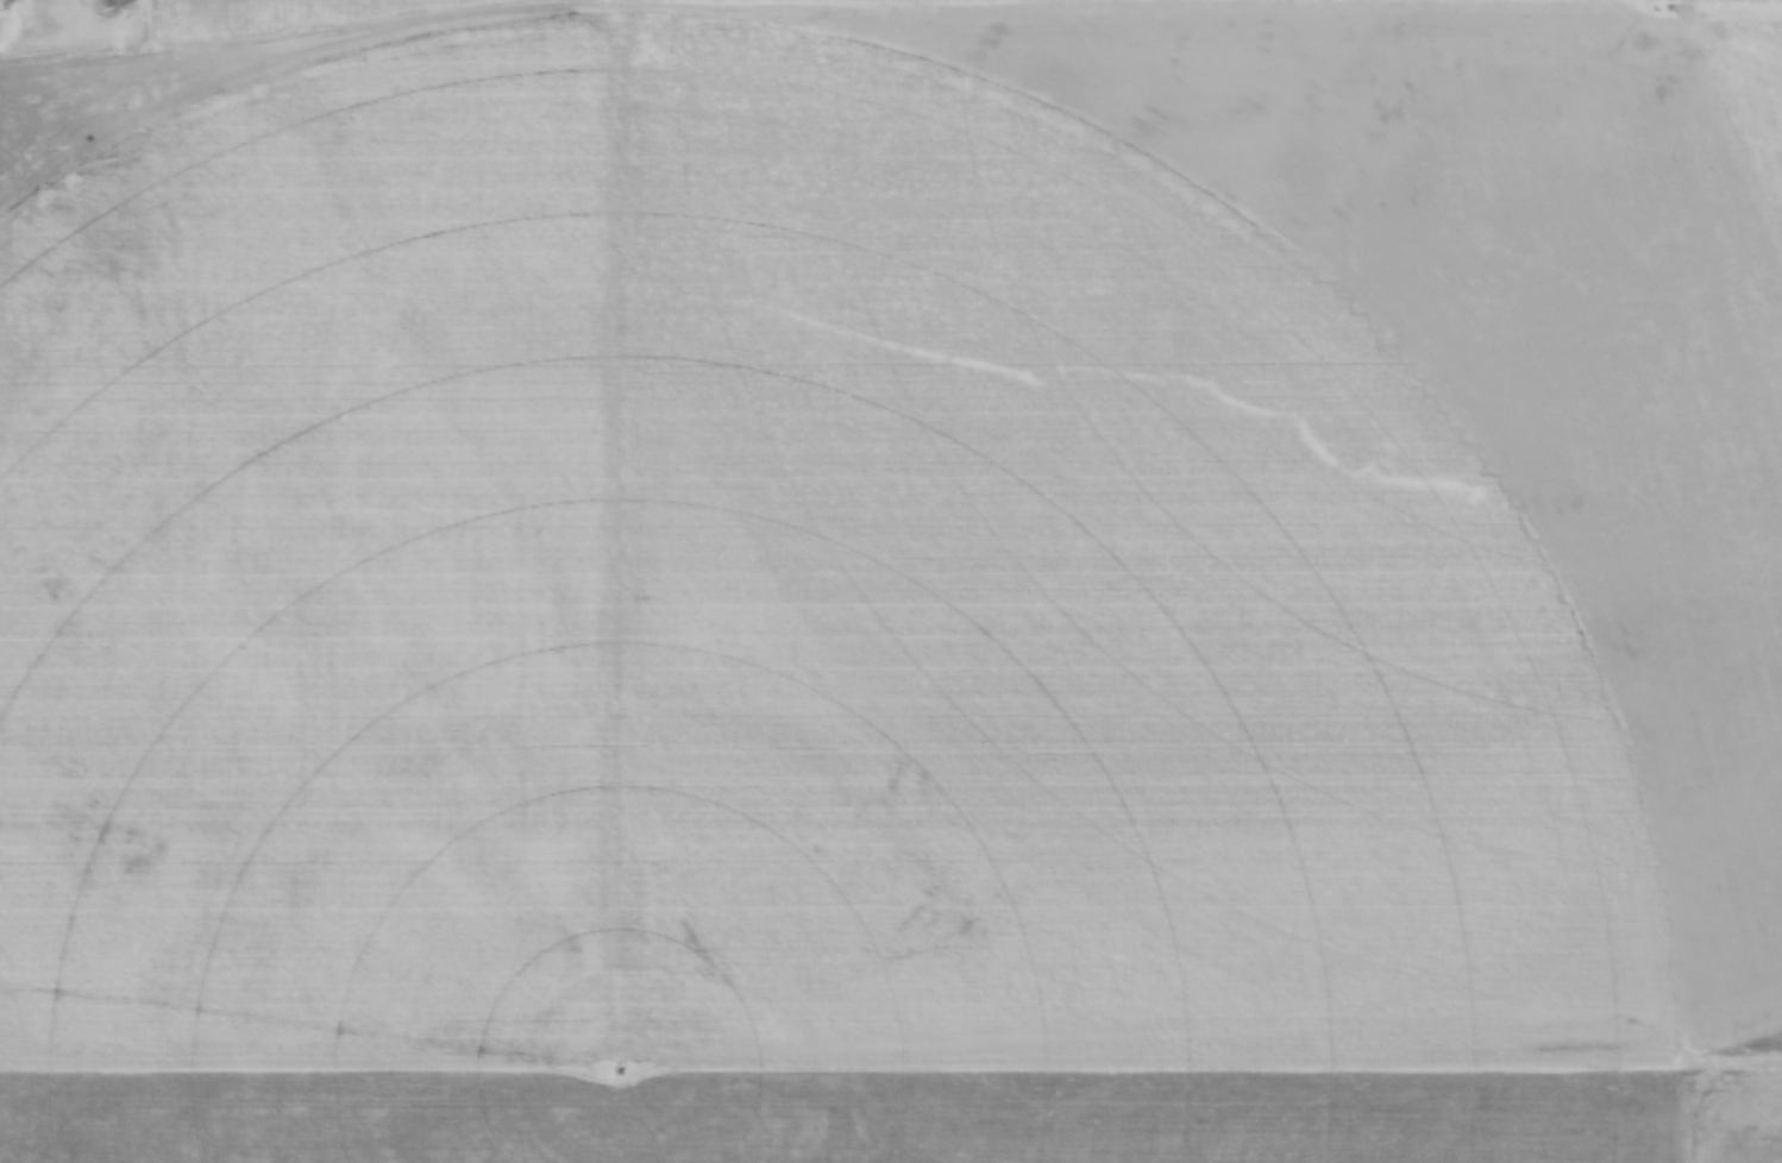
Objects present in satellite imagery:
road: (1709, 1083)

